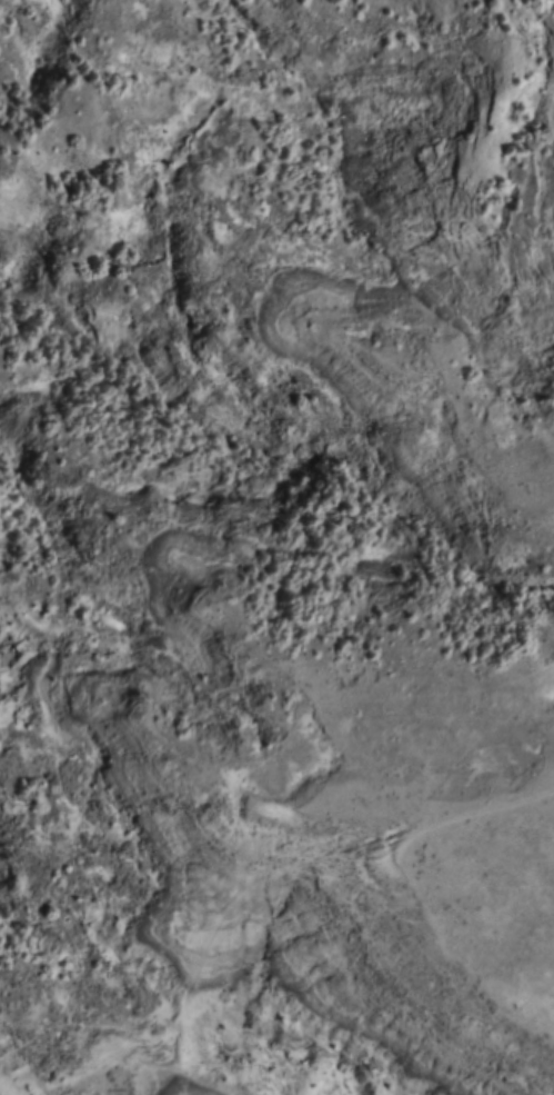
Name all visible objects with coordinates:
road: (473, 809)
road: (193, 964)

